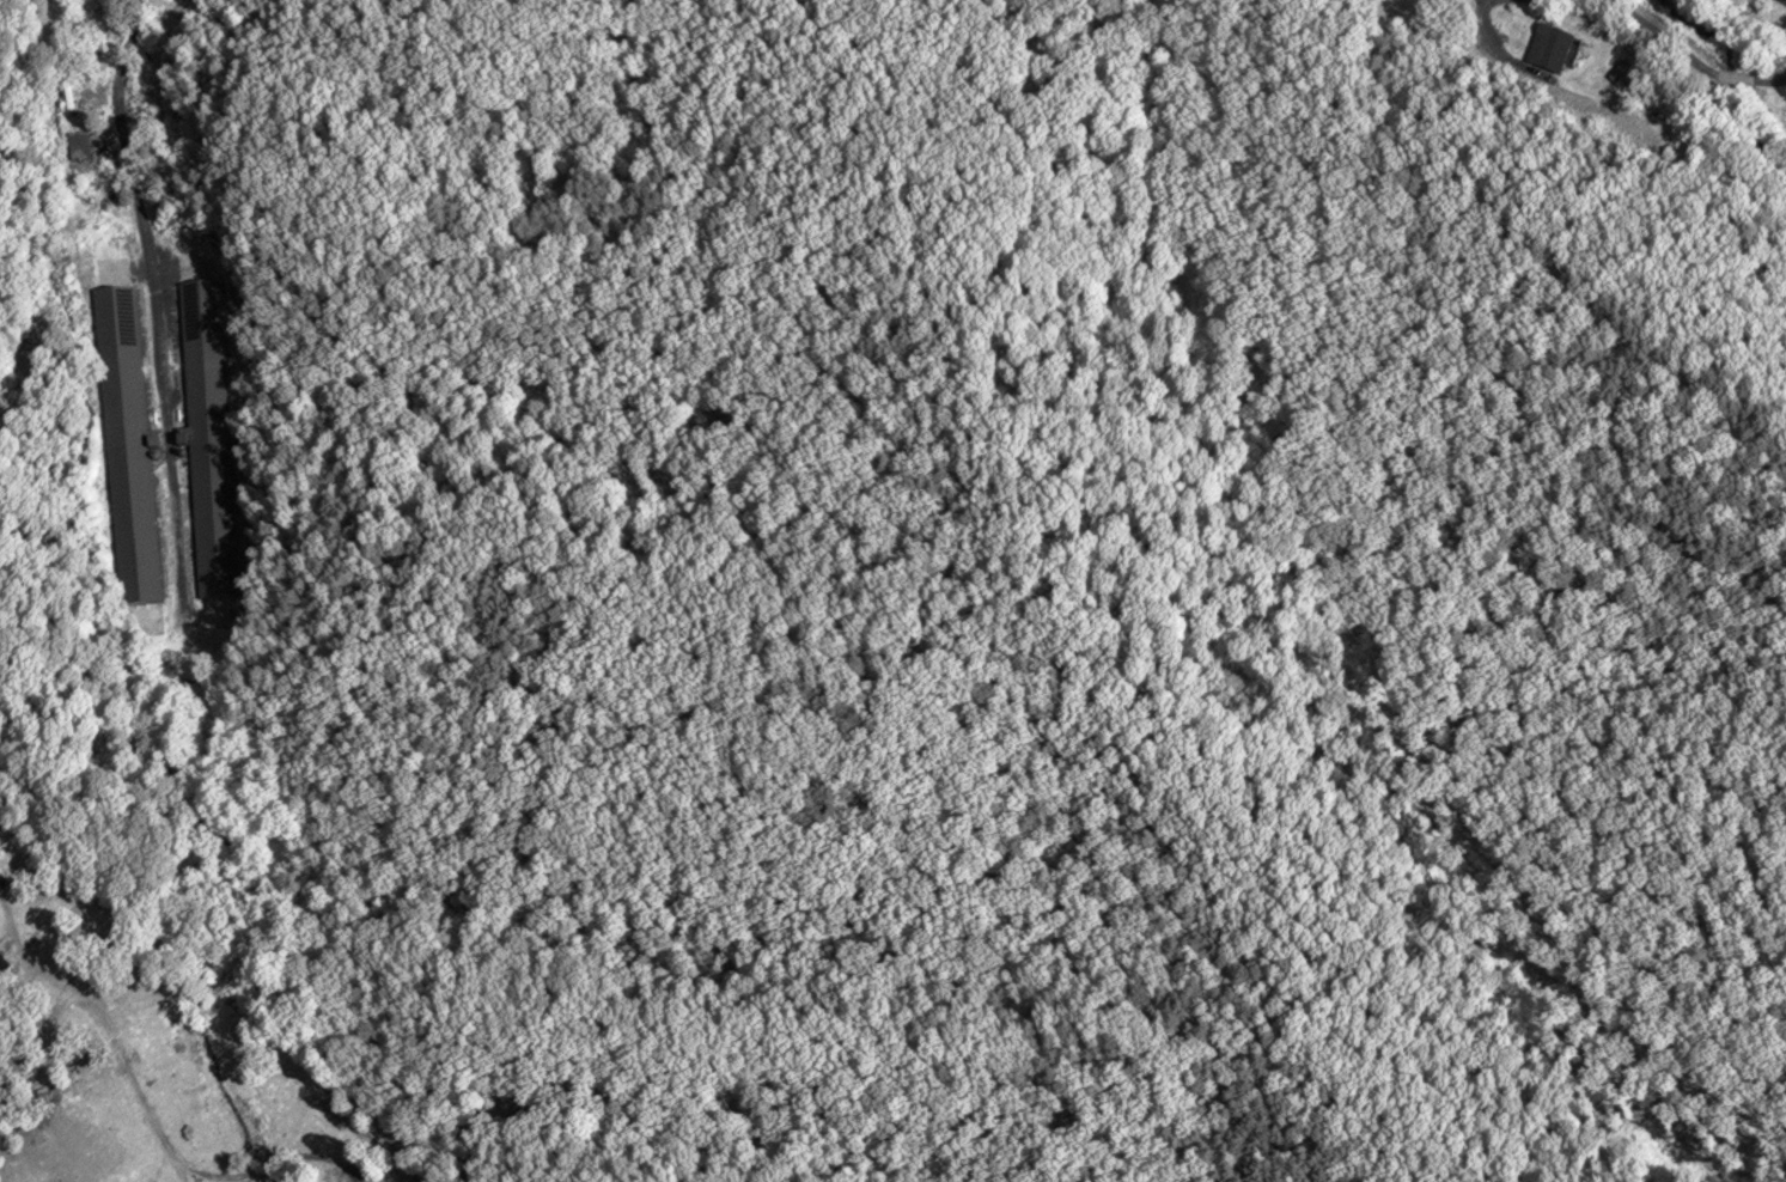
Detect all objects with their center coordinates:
building: (1549, 48)
building: (78, 145)
road: (154, 286)
building: (208, 438)
building: (126, 447)

